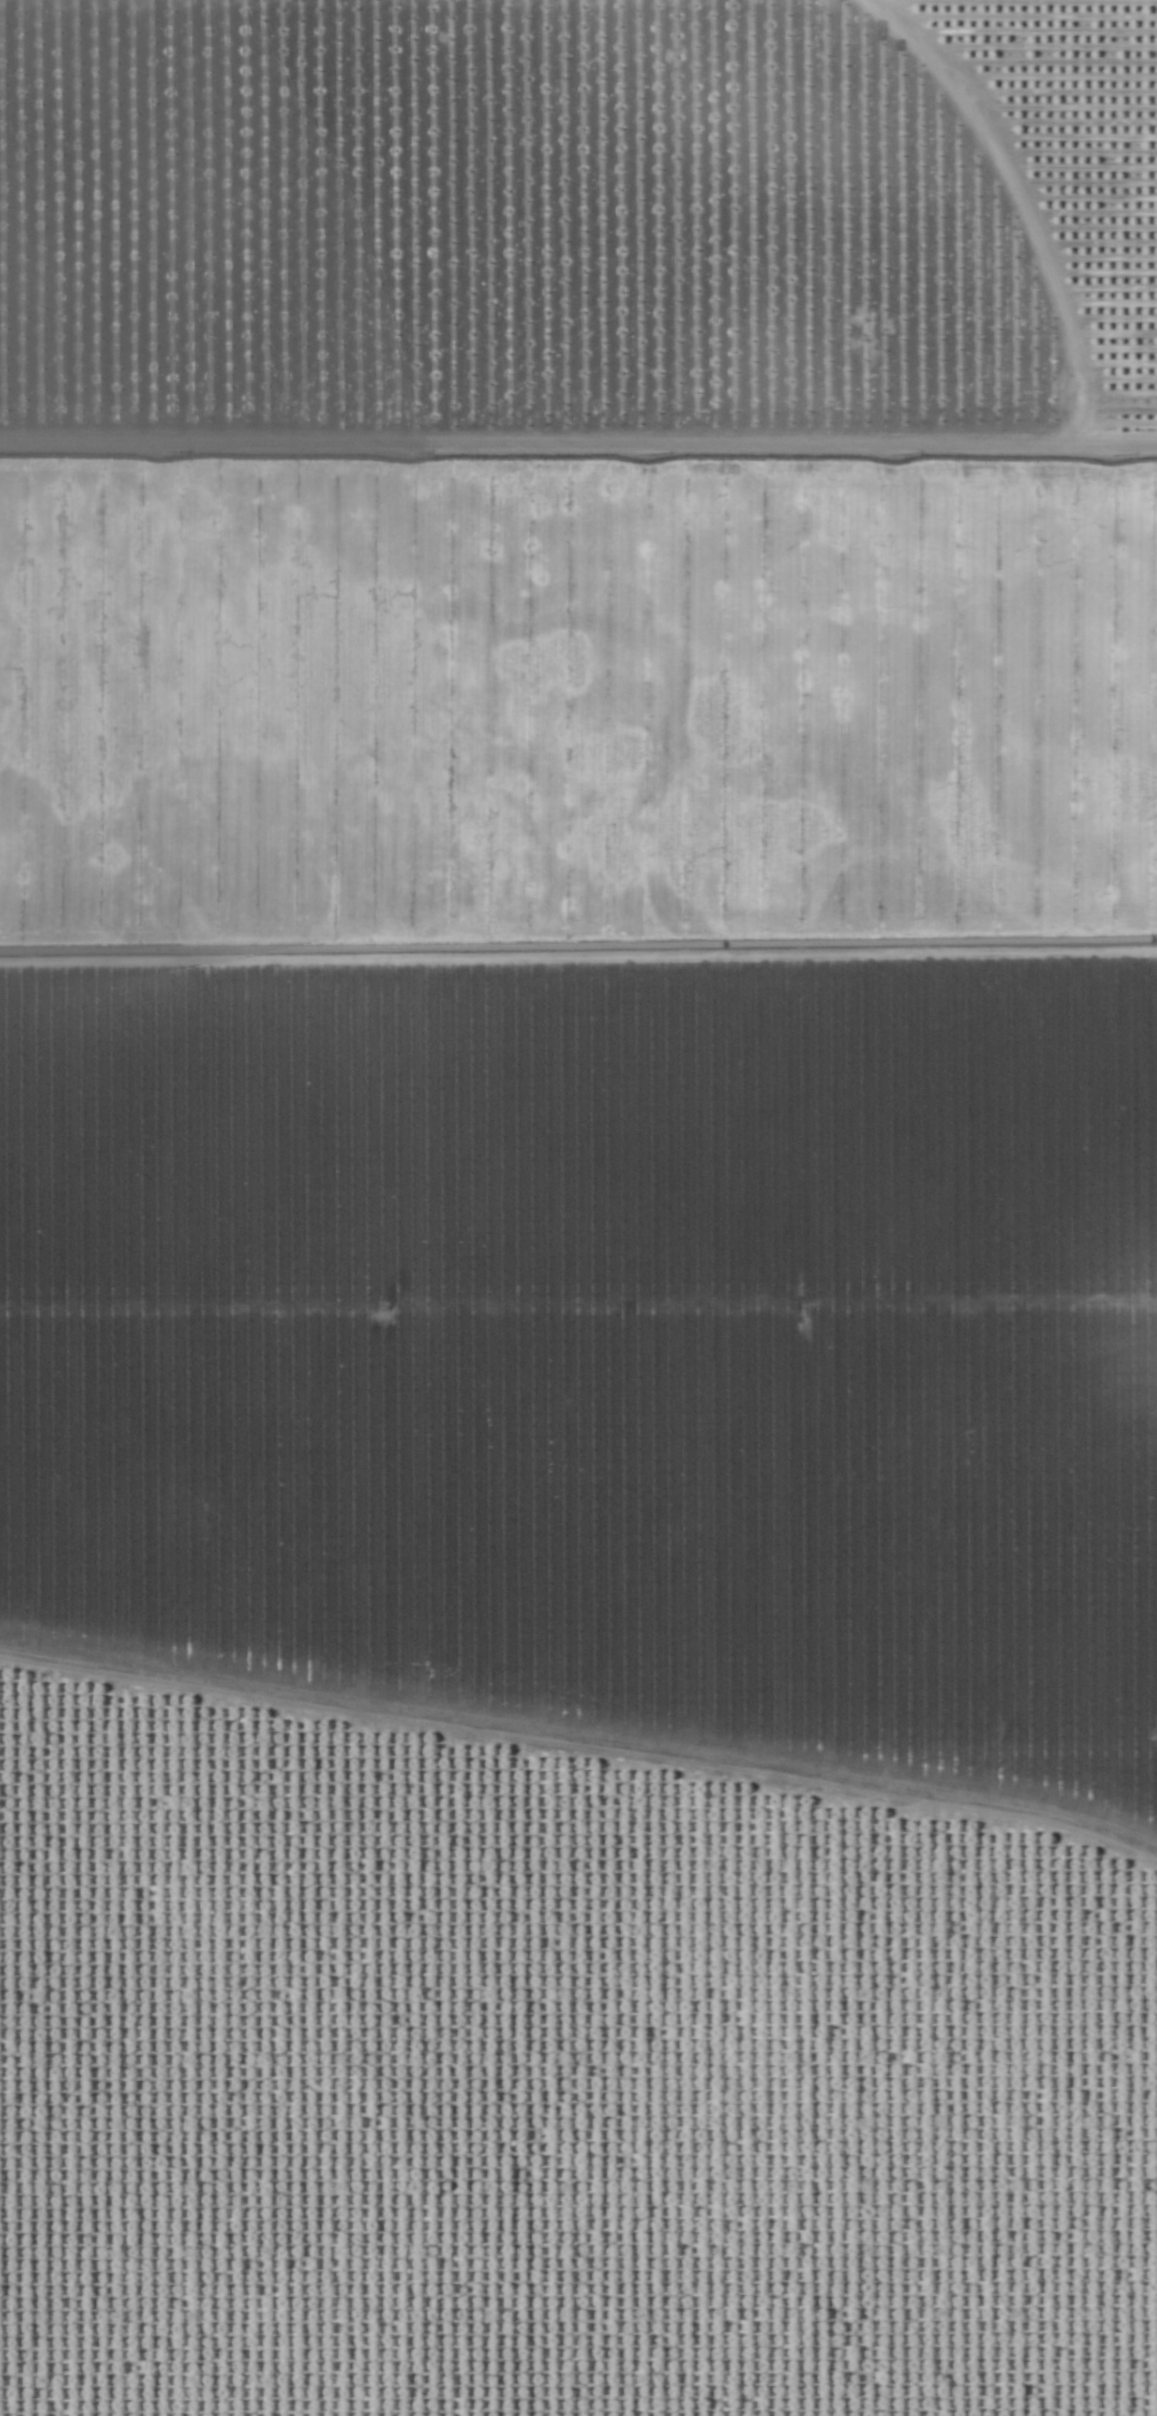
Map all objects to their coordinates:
road: (578, 445)
crop: (578, 1208)
building: (246, 1807)
building: (137, 1817)
building: (323, 1837)
building: (428, 1849)
building: (804, 2011)
building: (493, 2247)

